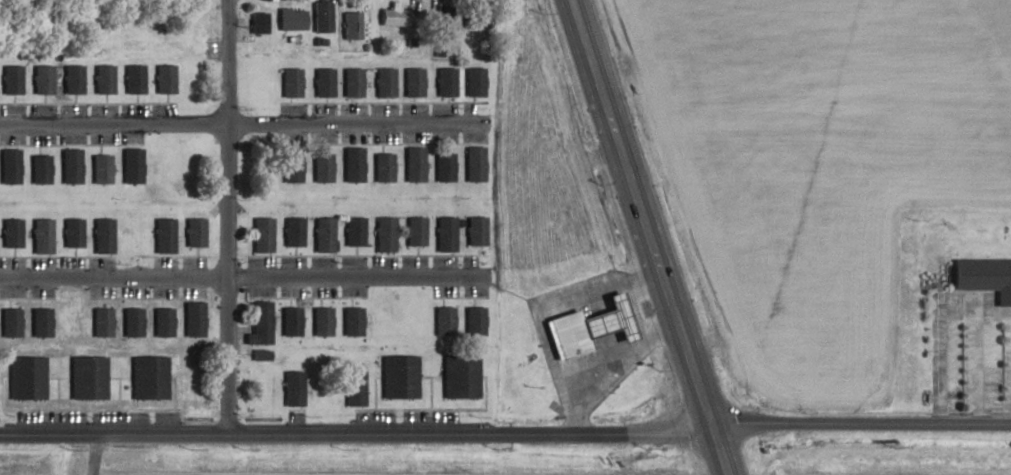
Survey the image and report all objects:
building: (394, 16)
building: (319, 17)
building: (289, 20)
building: (256, 23)
building: (442, 25)
building: (348, 26)
building: (101, 79)
building: (131, 79)
building: (162, 79)
building: (9, 80)
building: (40, 80)
building: (71, 80)
building: (321, 82)
building: (350, 82)
building: (382, 82)
building: (411, 82)
building: (444, 82)
building: (473, 82)
building: (289, 83)
road: (247, 122)
building: (412, 164)
building: (473, 164)
building: (351, 165)
crop: (821, 165)
building: (9, 166)
building: (70, 166)
building: (131, 166)
building: (289, 167)
building: (442, 167)
building: (320, 168)
building: (381, 168)
building: (39, 169)
building: (100, 169)
road: (226, 216)
building: (414, 231)
building: (475, 231)
building: (291, 232)
building: (352, 232)
building: (10, 233)
building: (71, 233)
building: (194, 233)
building: (383, 234)
building: (444, 234)
building: (260, 235)
building: (321, 235)
building: (41, 236)
building: (101, 236)
building: (163, 236)
road: (650, 236)
building: (984, 277)
road: (247, 278)
road: (509, 291)
road: (551, 305)
building: (192, 319)
building: (290, 321)
building: (320, 321)
building: (443, 321)
building: (474, 321)
building: (9, 322)
building: (39, 322)
building: (101, 322)
building: (131, 322)
building: (162, 322)
building: (351, 322)
building: (259, 324)
road: (939, 326)
building: (588, 327)
gas station: (588, 327)
parking lot: (969, 350)
road: (617, 353)
road: (978, 362)
road: (512, 374)
building: (459, 376)
building: (398, 377)
building: (25, 378)
building: (86, 378)
building: (148, 378)
building: (292, 388)
building: (353, 388)
road: (861, 425)
road: (356, 432)
road: (91, 453)

